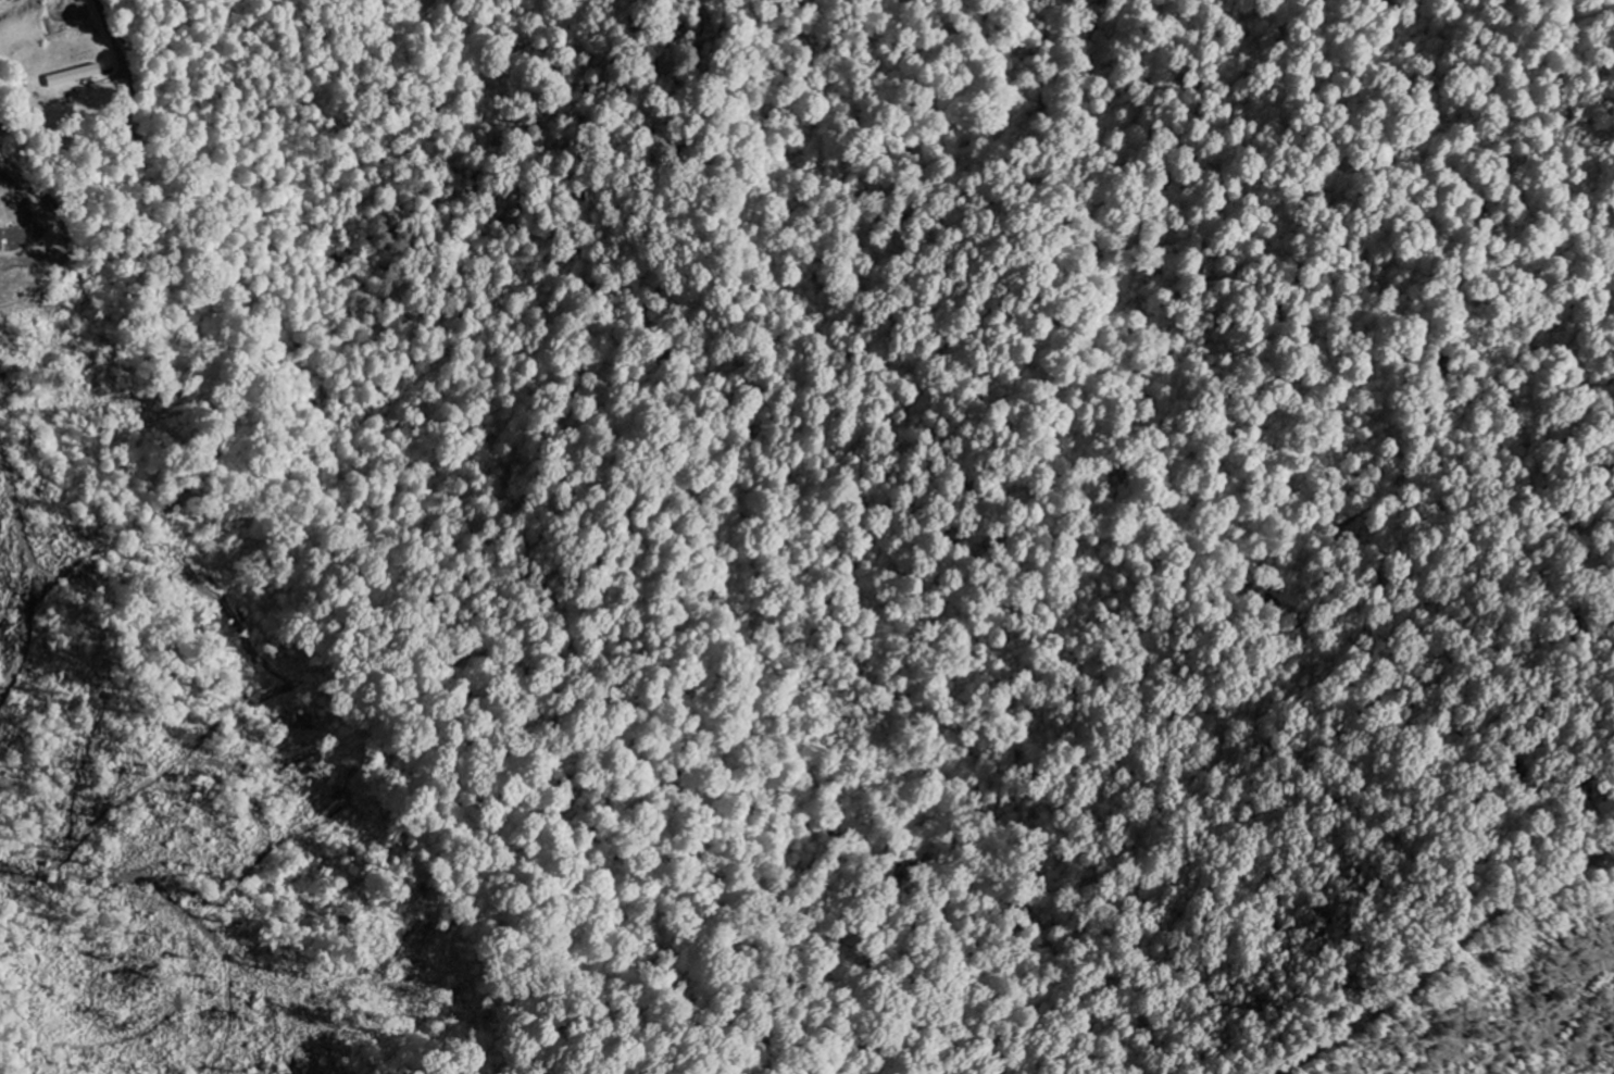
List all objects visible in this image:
building: (12, 0)
building: (73, 76)
building: (0, 239)

